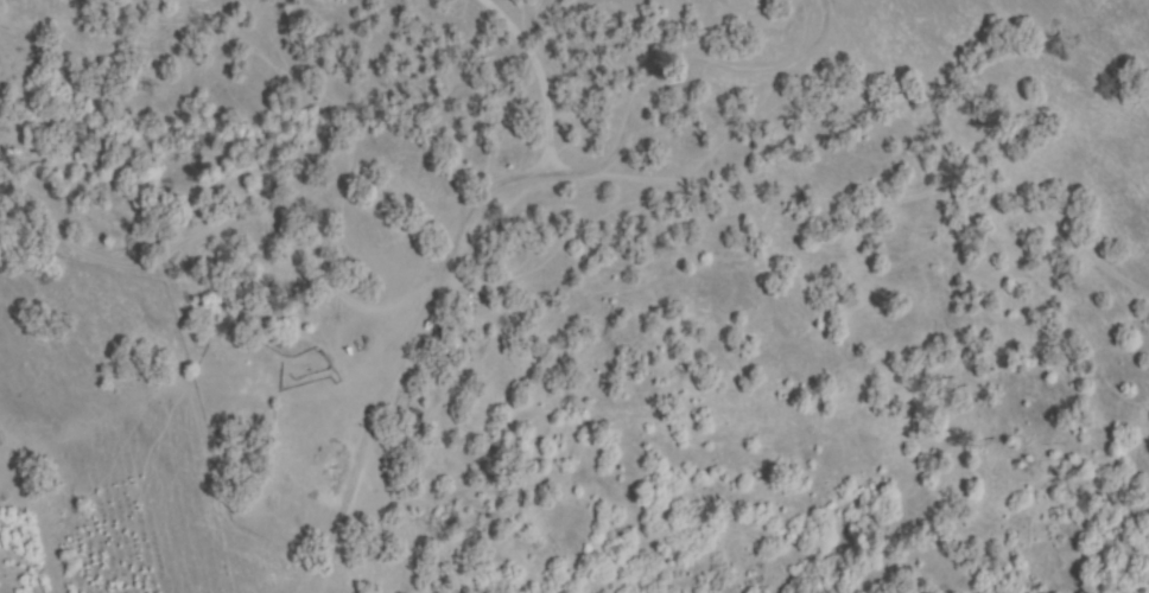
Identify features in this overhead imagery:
road: (489, 192)

